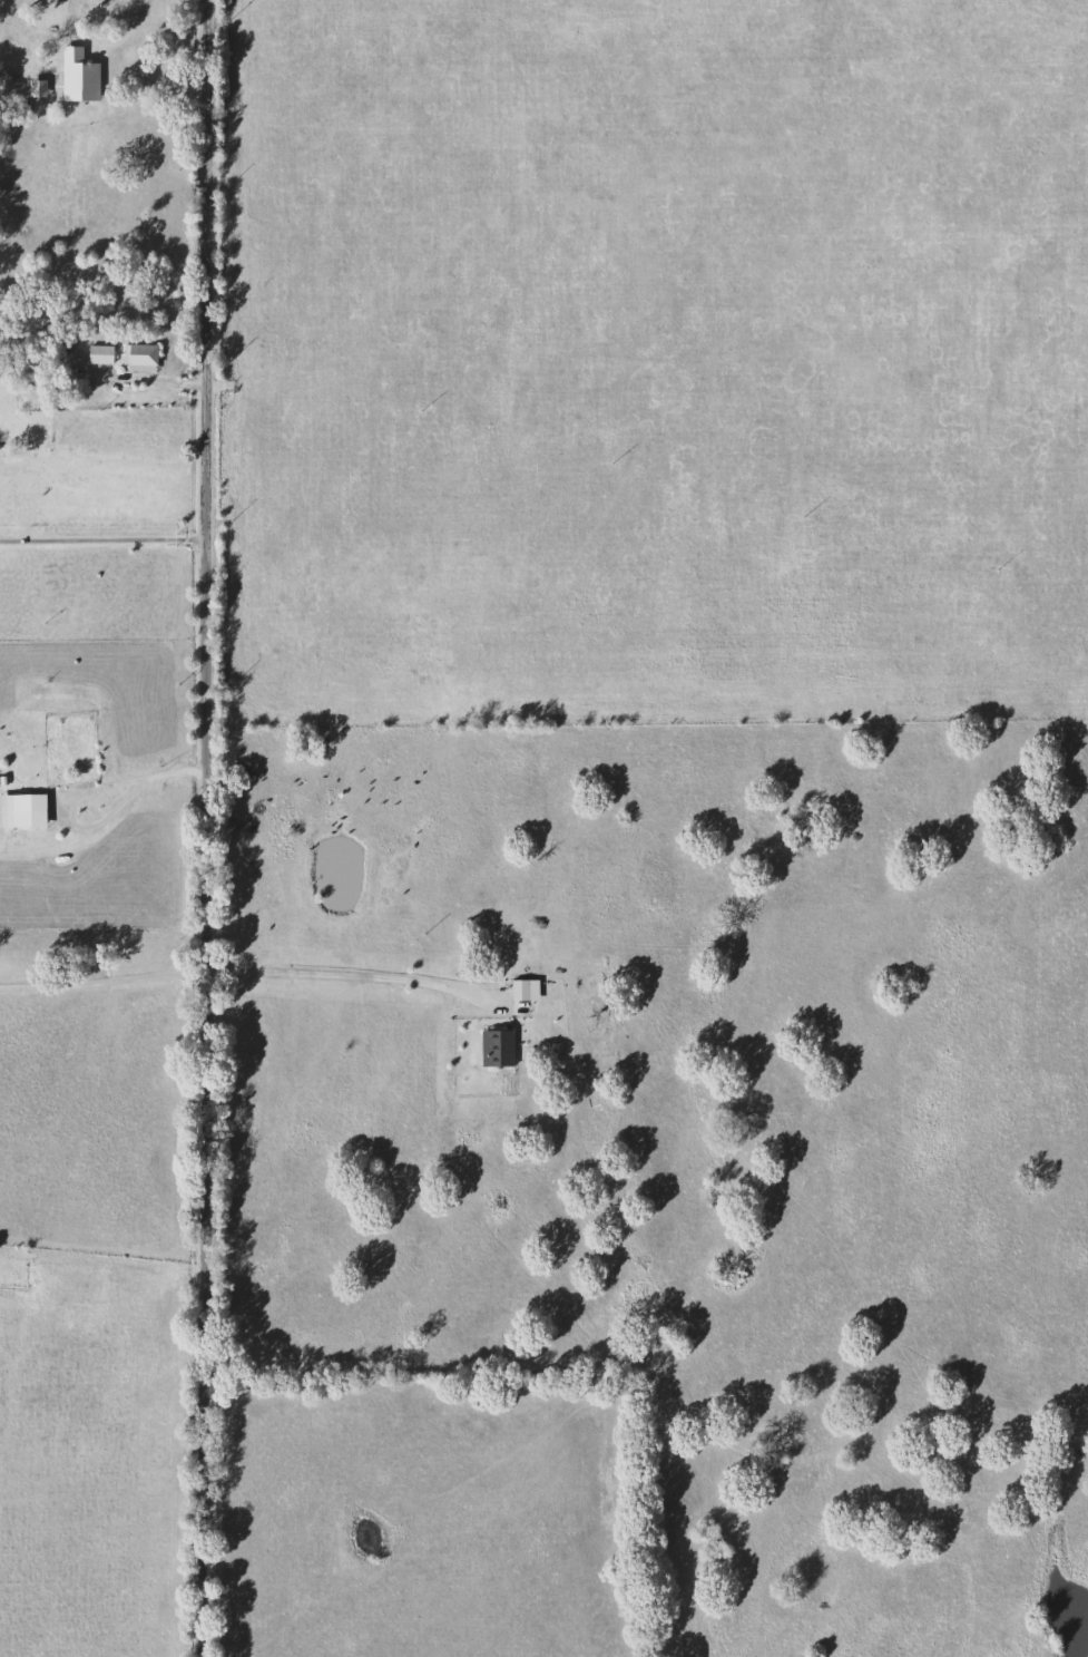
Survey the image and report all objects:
road: (156, 2)
road: (170, 2)
road: (110, 37)
building: (89, 72)
building: (98, 354)
building: (138, 354)
building: (37, 384)
road: (104, 543)
building: (33, 767)
road: (75, 792)
road: (208, 828)
road: (351, 978)
road: (105, 982)
road: (102, 1263)

